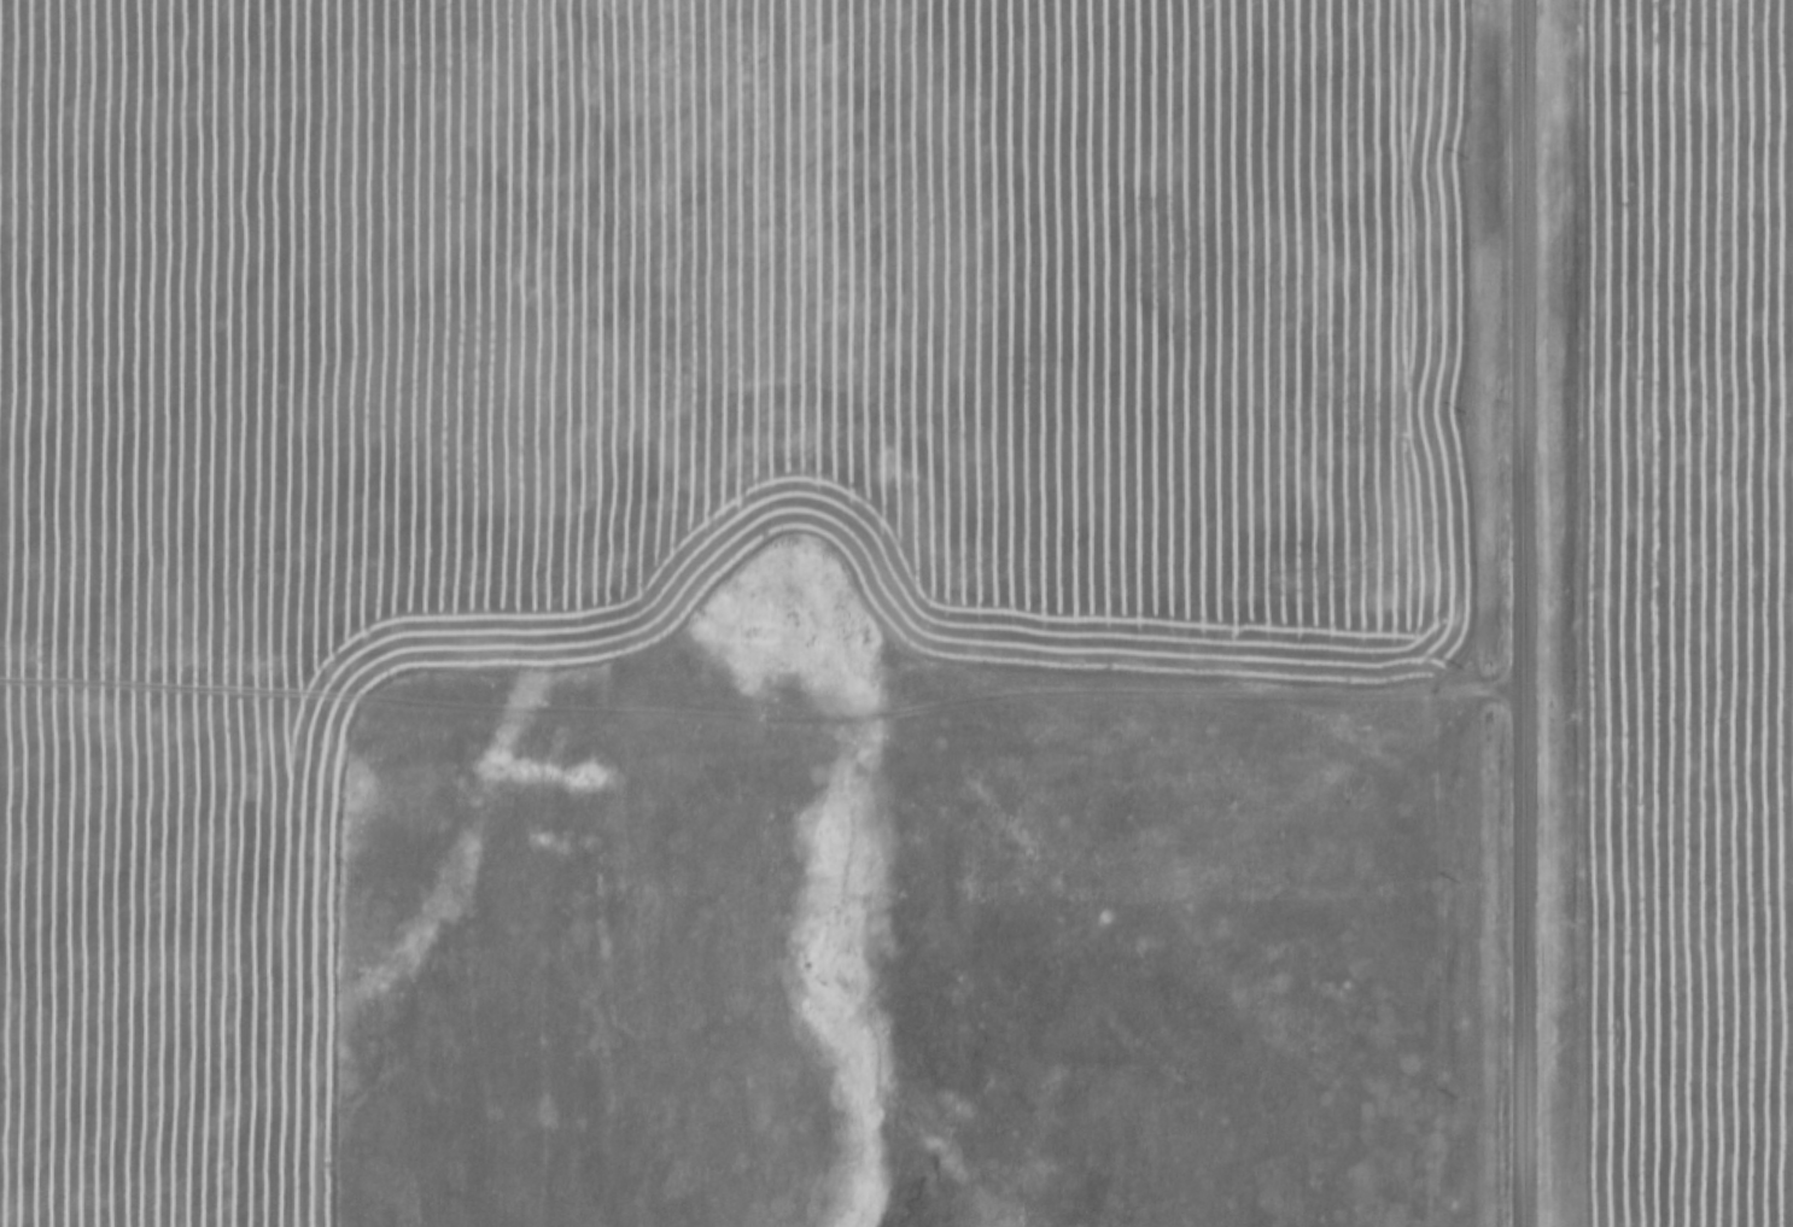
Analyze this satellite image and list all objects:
road: (1523, 613)

